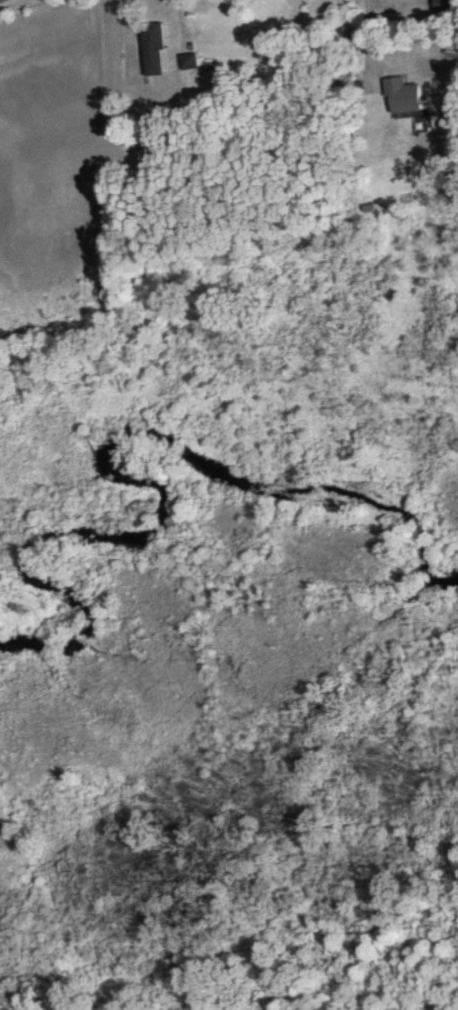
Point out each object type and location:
building: (448, 4)
road: (369, 37)
building: (154, 47)
building: (189, 59)
building: (408, 94)
building: (161, 139)

